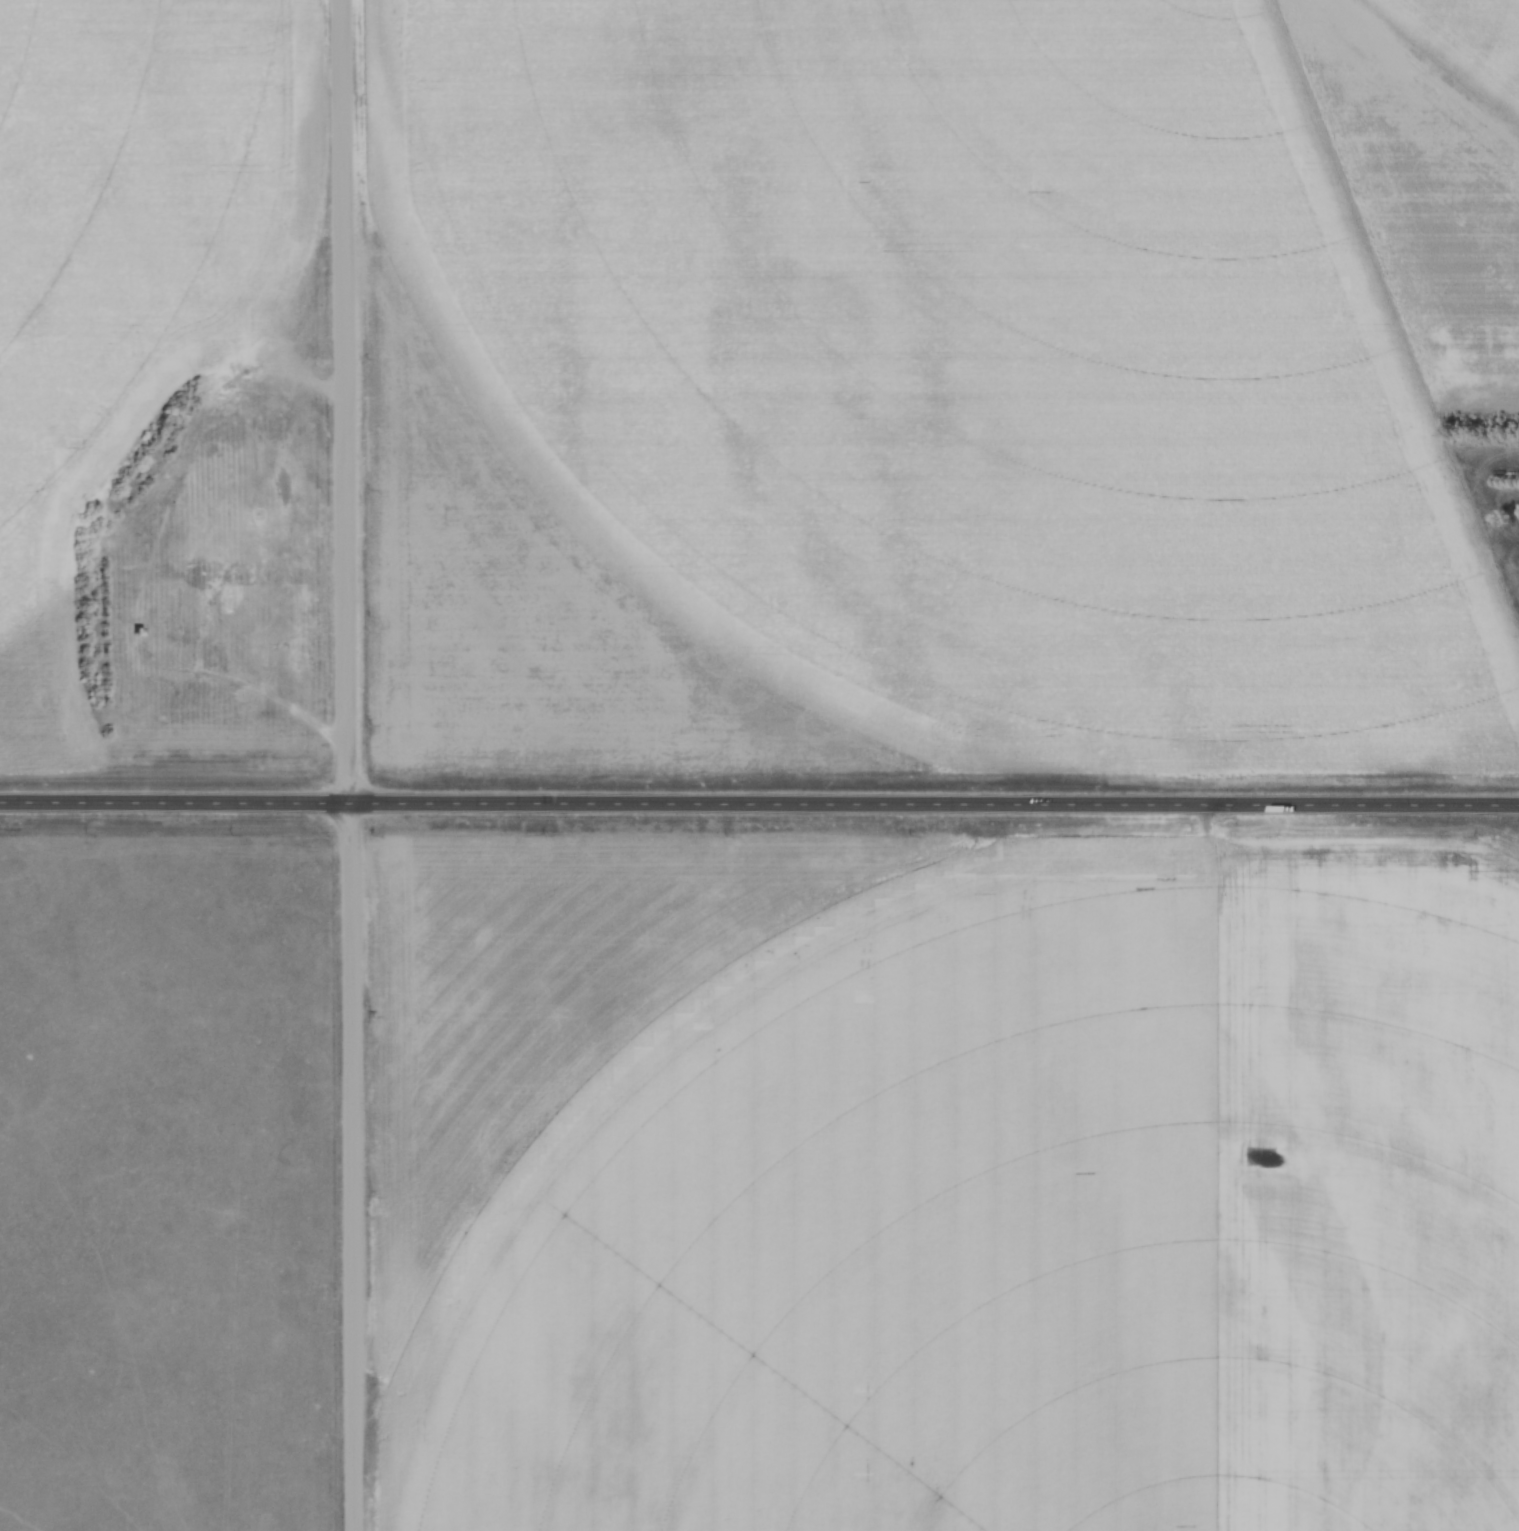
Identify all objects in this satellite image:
road: (348, 765)
road: (759, 805)

